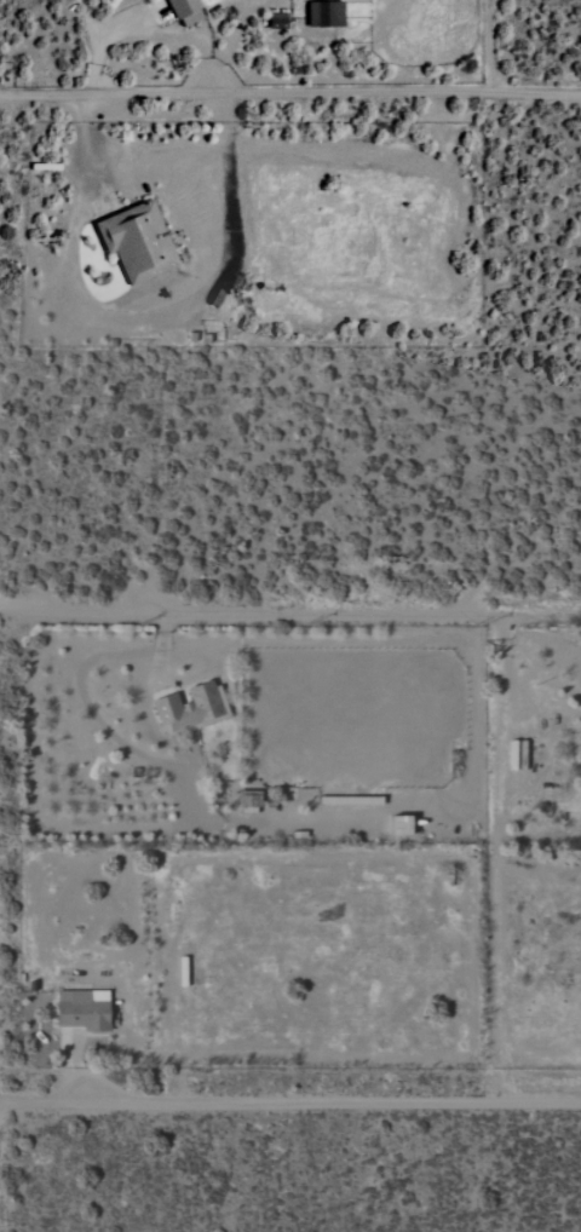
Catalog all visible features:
building: (328, 15)
building: (278, 21)
road: (145, 29)
road: (231, 34)
road: (290, 96)
building: (139, 242)
road: (145, 318)
road: (289, 617)
road: (527, 668)
building: (191, 709)
building: (580, 755)
building: (251, 801)
building: (85, 1011)
road: (290, 1103)

